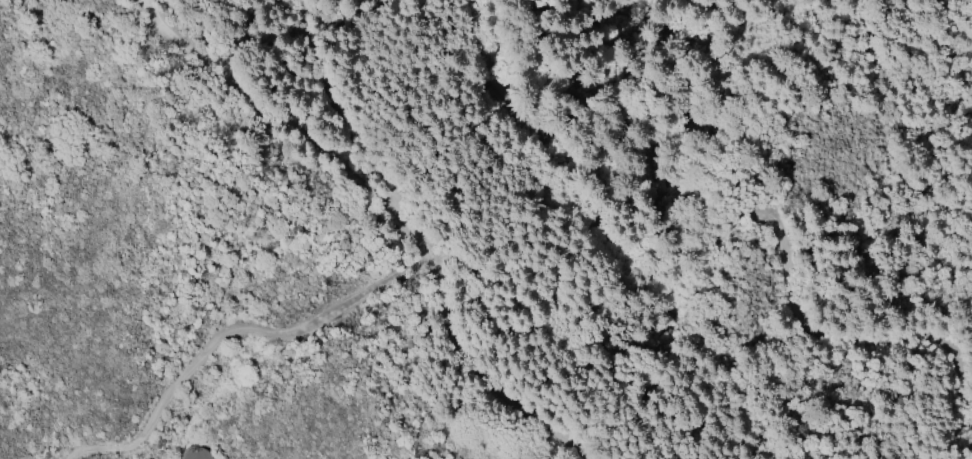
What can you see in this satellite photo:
road: (491, 30)
road: (336, 84)
road: (396, 201)
road: (678, 262)
road: (232, 332)
road: (960, 366)
building: (196, 453)

